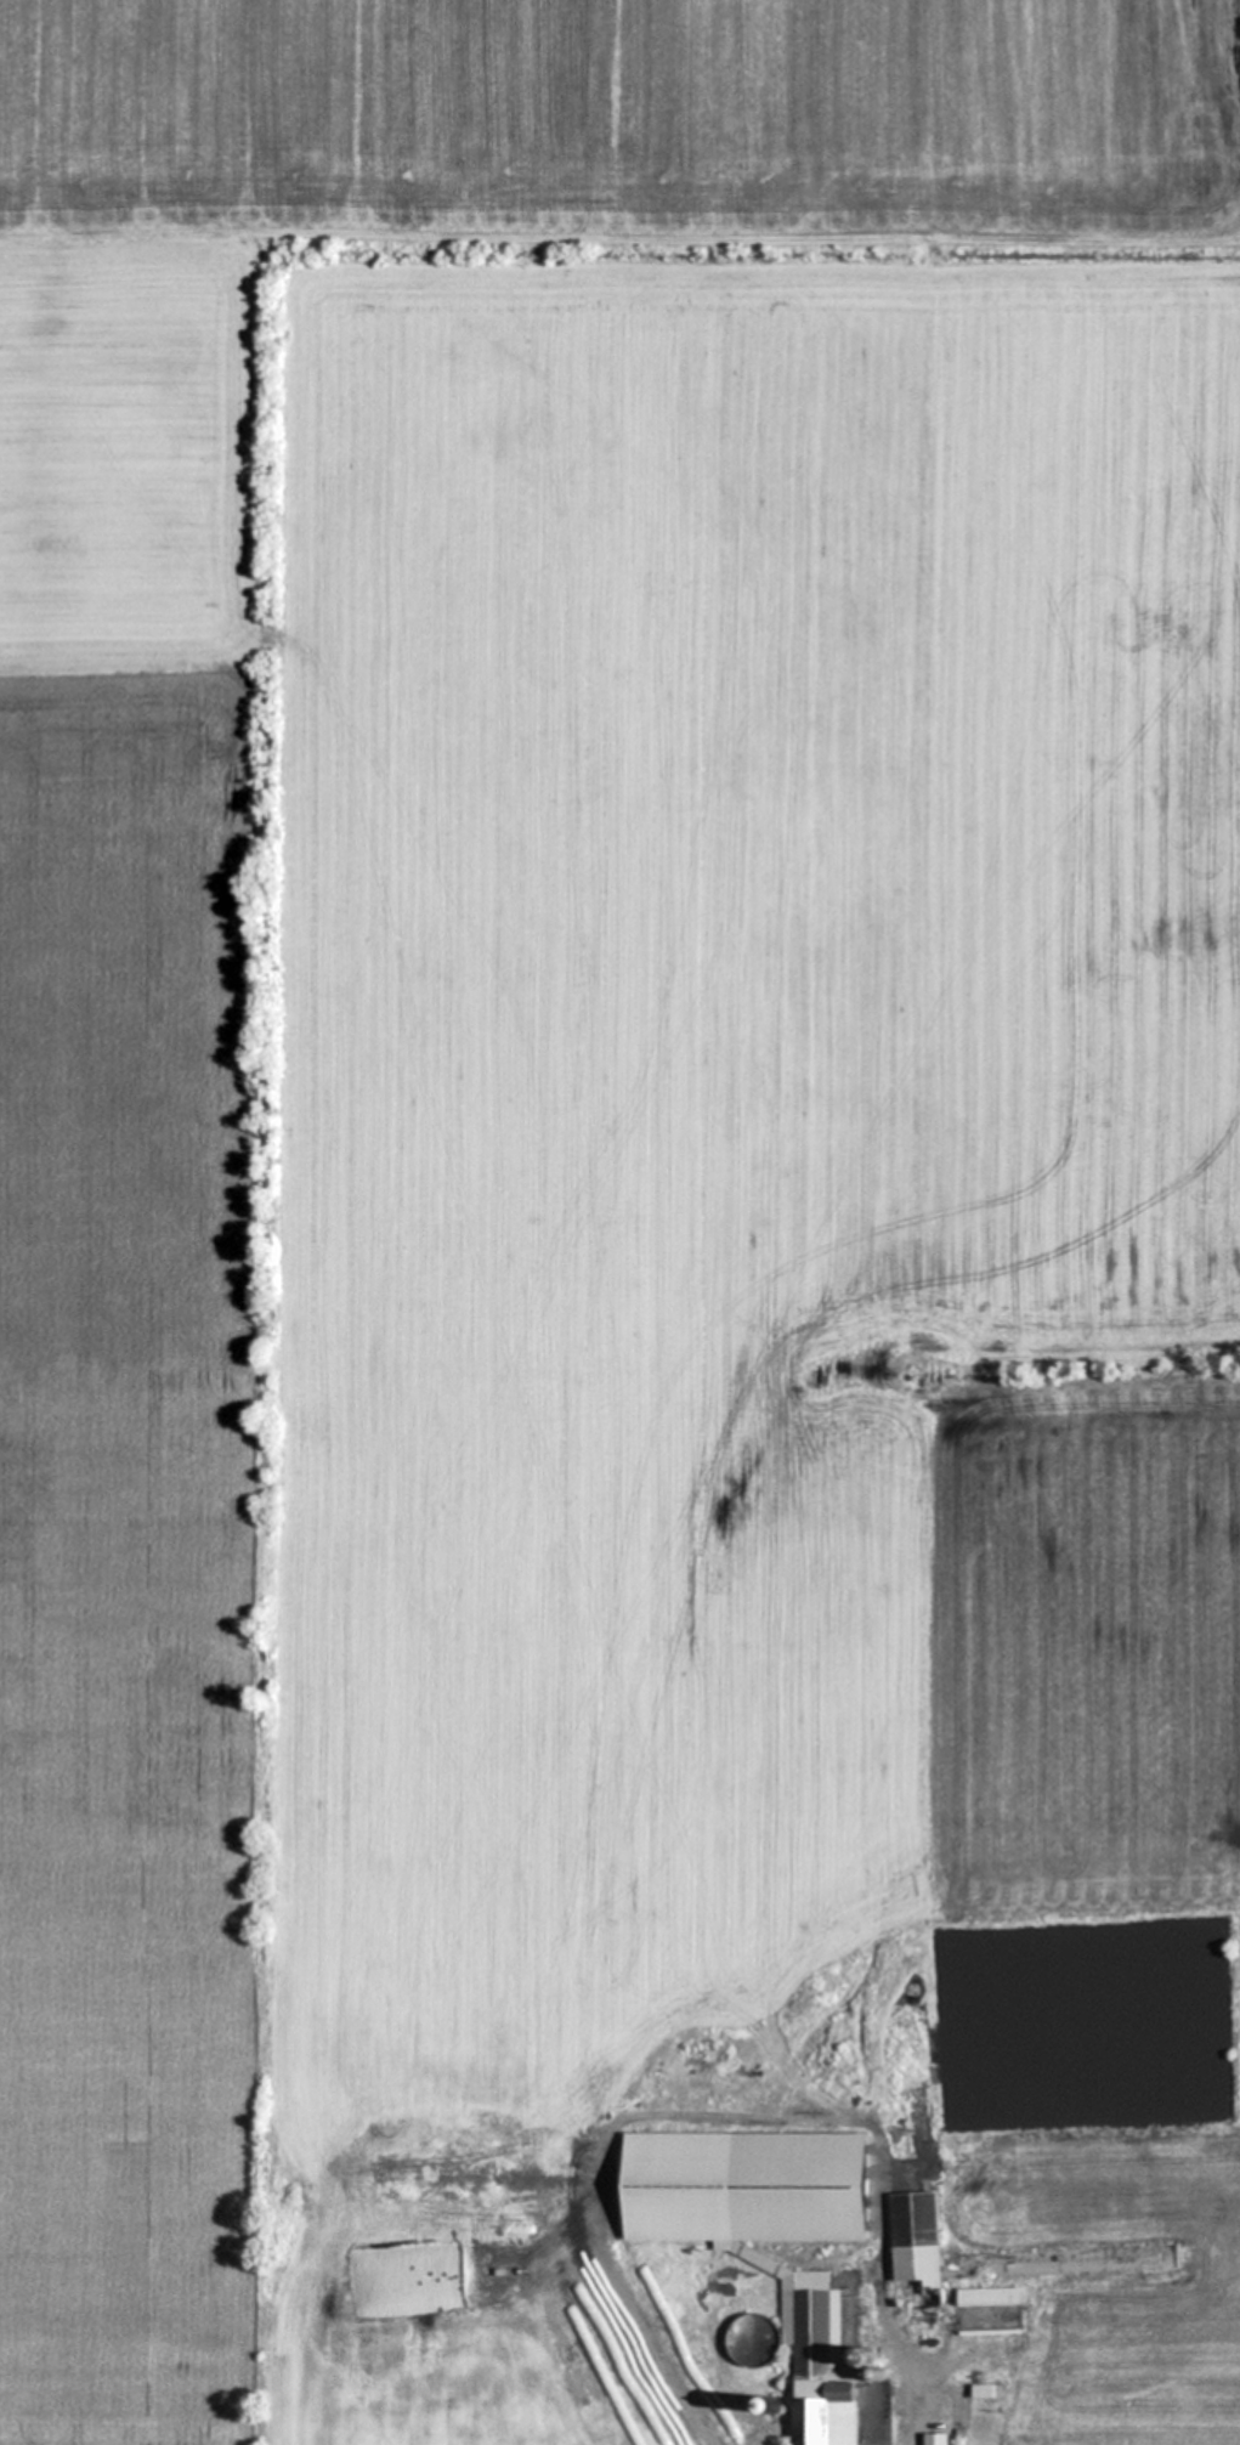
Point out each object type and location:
building: (766, 2239)
building: (915, 2248)
building: (987, 2296)
building: (749, 2338)
road: (902, 2394)
building: (384, 2410)
building: (466, 2410)
building: (551, 2411)
building: (934, 2438)

